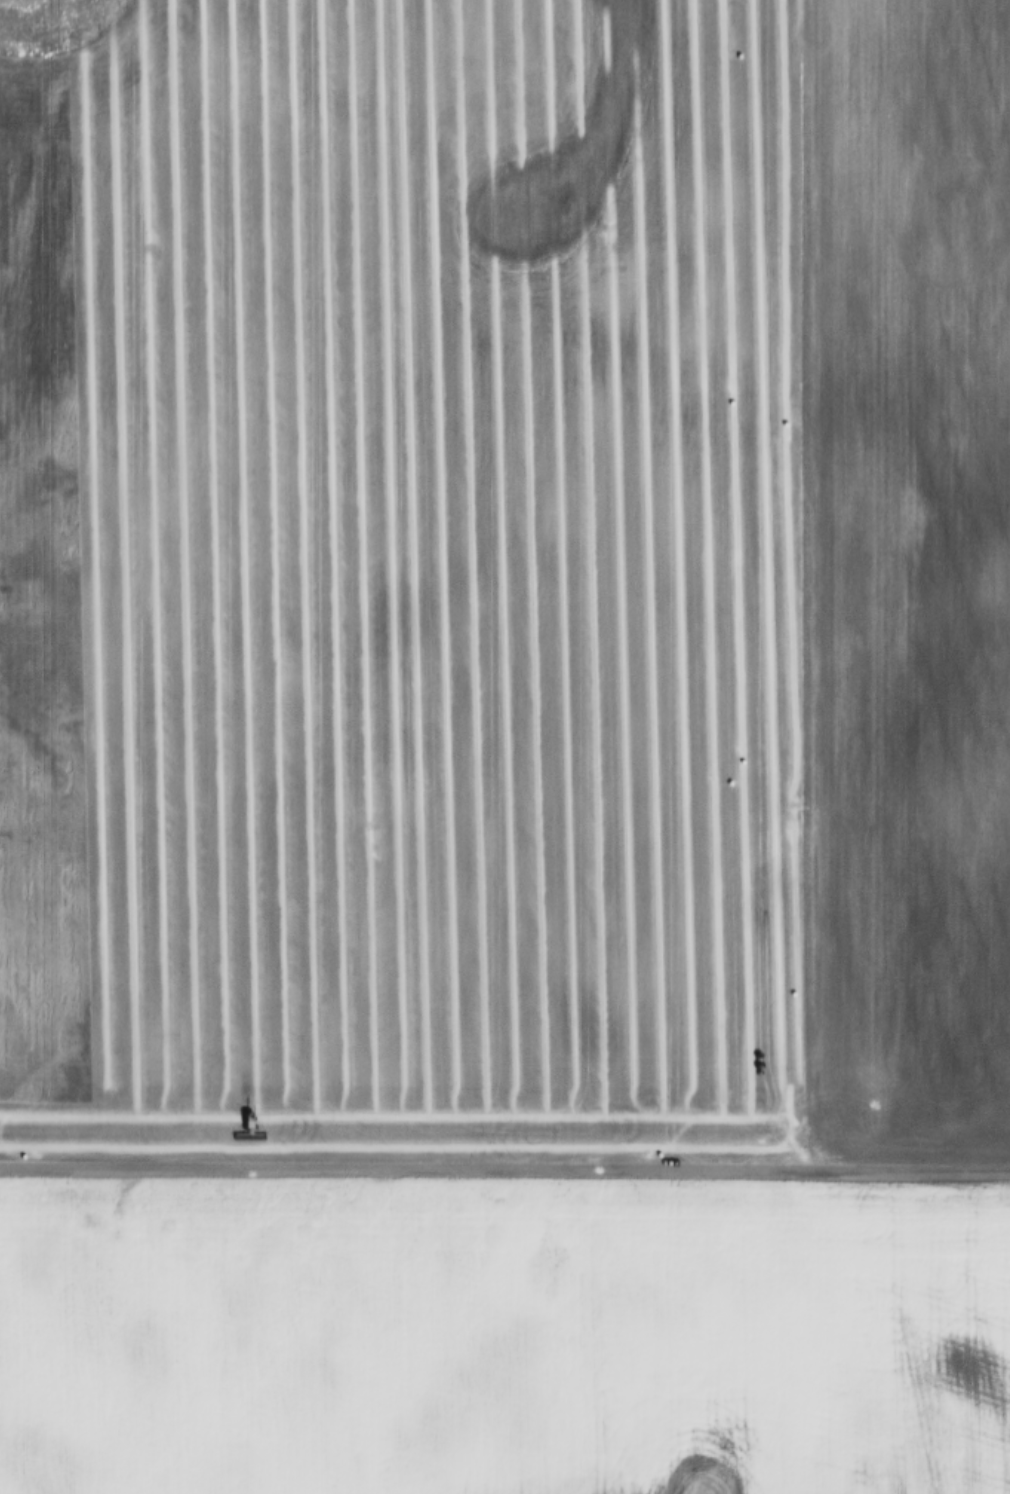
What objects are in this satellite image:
road: (505, 1164)

